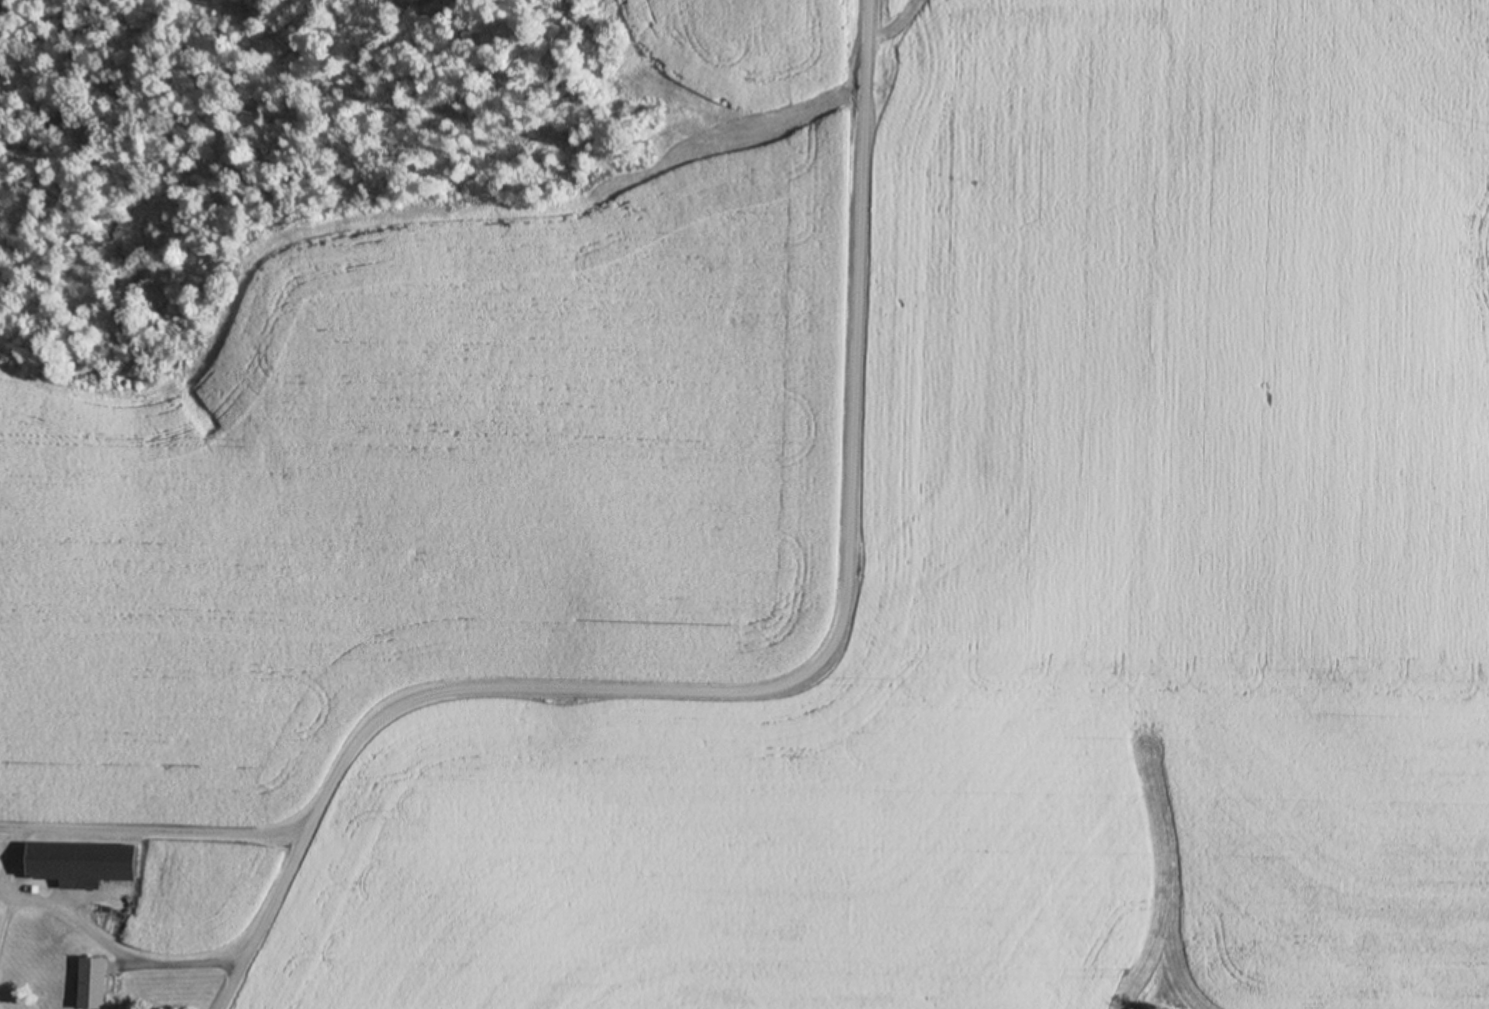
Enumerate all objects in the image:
road: (774, 691)
road: (169, 833)
building: (82, 861)
building: (90, 981)

